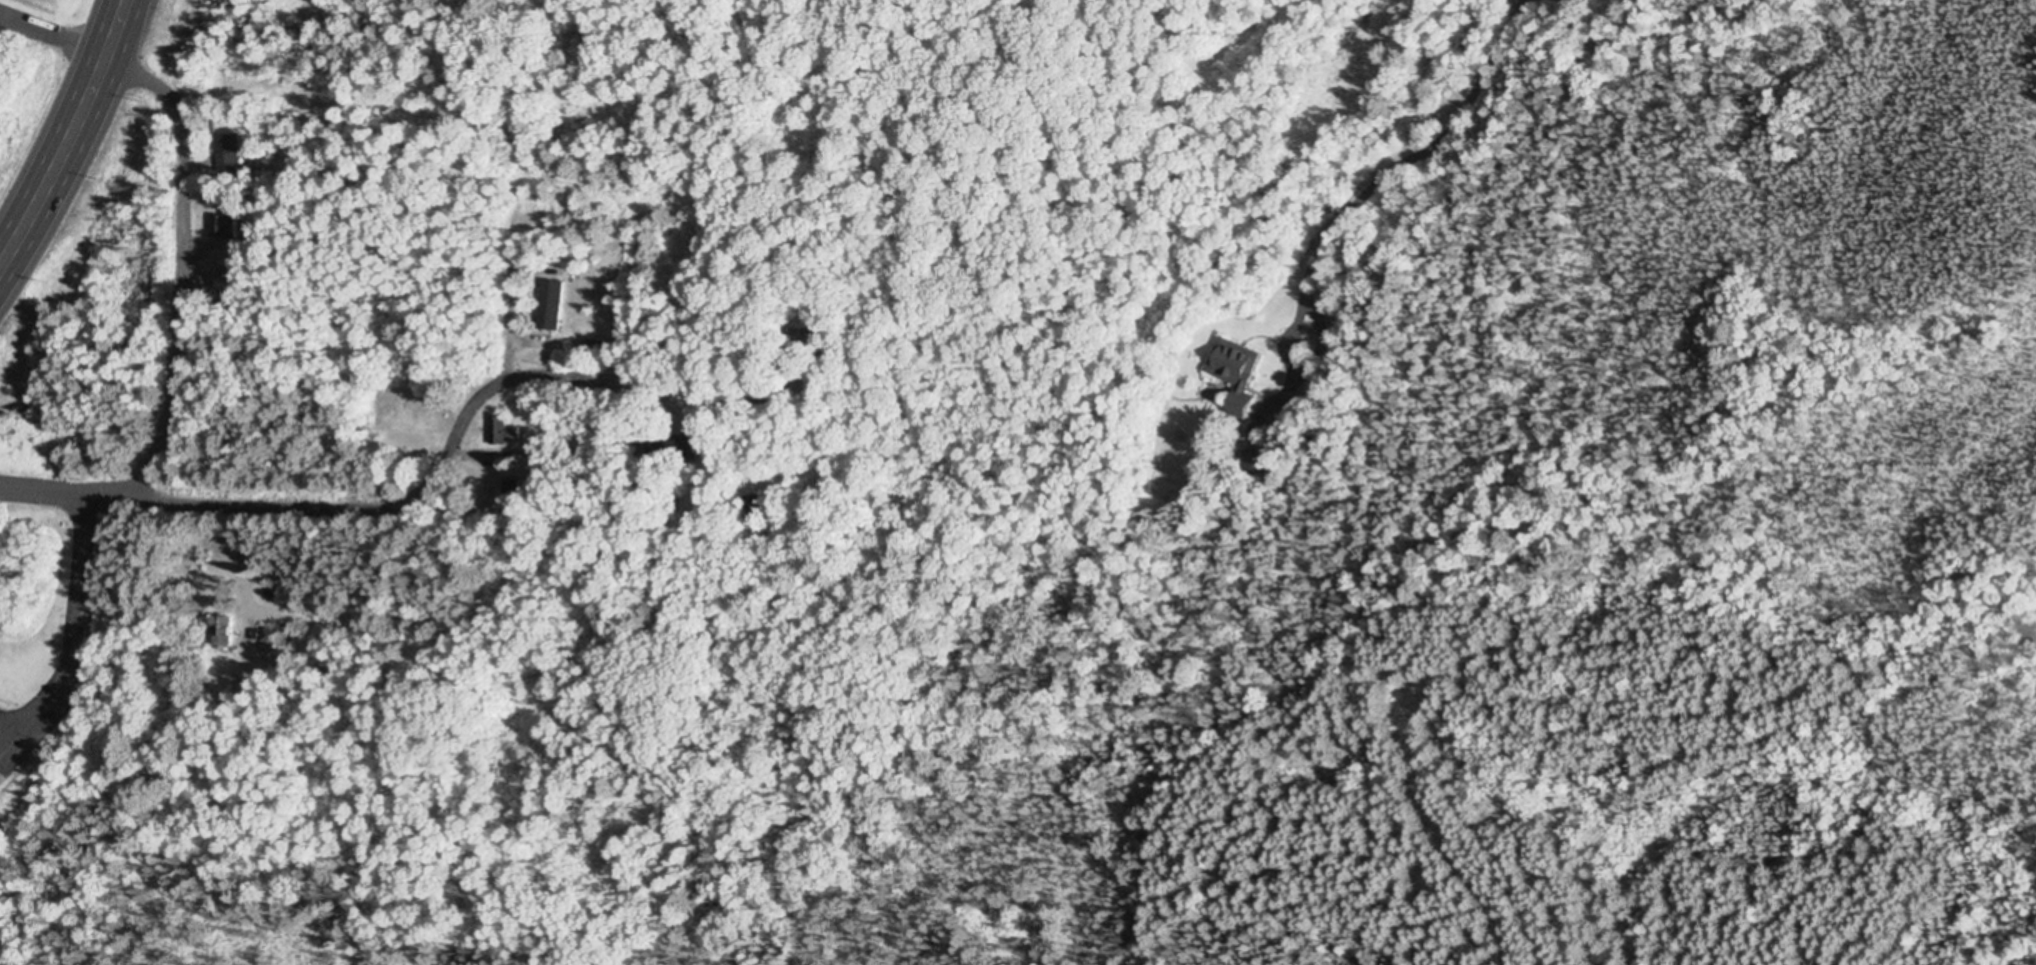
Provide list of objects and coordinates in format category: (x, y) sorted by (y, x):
road: (77, 48)
road: (71, 137)
building: (224, 154)
building: (220, 228)
building: (222, 282)
road: (180, 296)
building: (547, 307)
building: (591, 348)
building: (1232, 378)
building: (500, 433)
building: (683, 448)
building: (505, 493)
road: (416, 502)
building: (763, 509)
building: (219, 633)
building: (272, 641)
road: (1446, 802)

